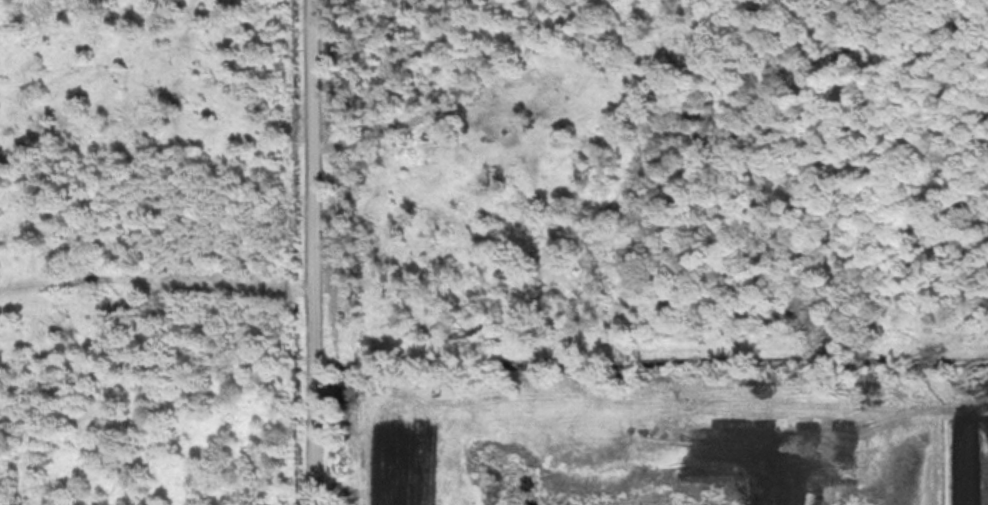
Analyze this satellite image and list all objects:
road: (310, 252)
crop: (387, 457)
crop: (962, 461)

